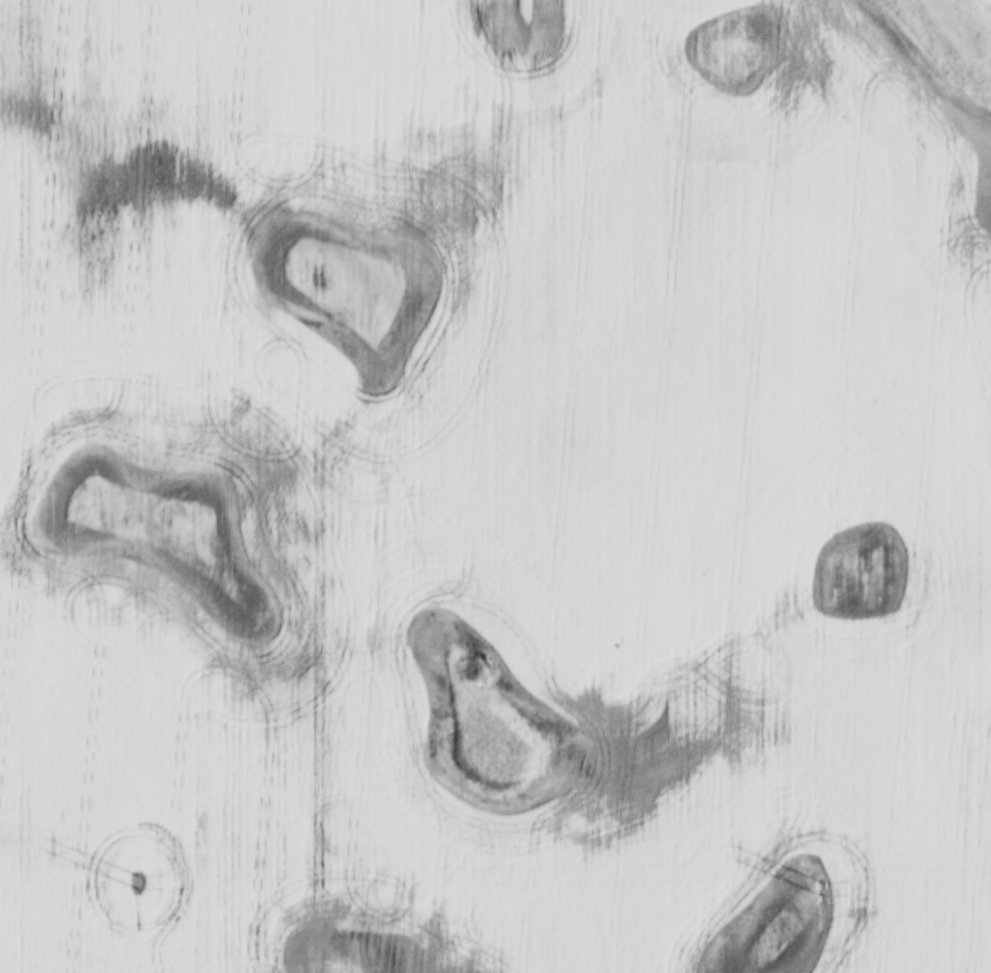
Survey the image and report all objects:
power tower: (137, 878)
power tower: (819, 885)

